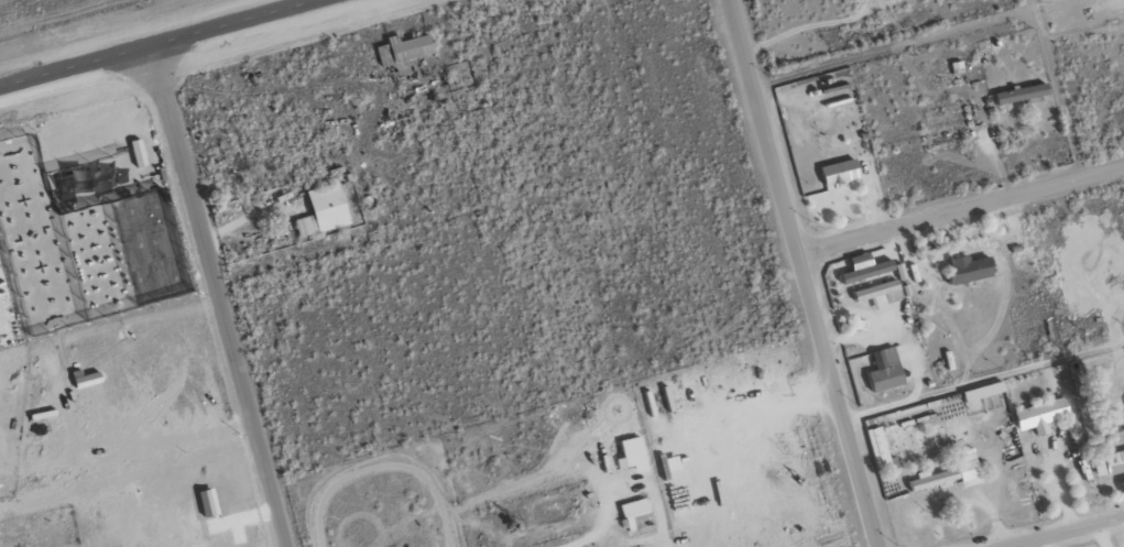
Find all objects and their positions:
road: (165, 42)
building: (1018, 94)
building: (837, 172)
road: (959, 210)
building: (321, 211)
building: (862, 269)
building: (964, 270)
road: (799, 274)
building: (877, 294)
road: (219, 296)
building: (882, 370)
building: (980, 391)
building: (657, 401)
building: (1038, 415)
building: (877, 448)
building: (630, 455)
building: (668, 463)
building: (1107, 463)
building: (948, 474)
building: (633, 512)
road: (1065, 530)

